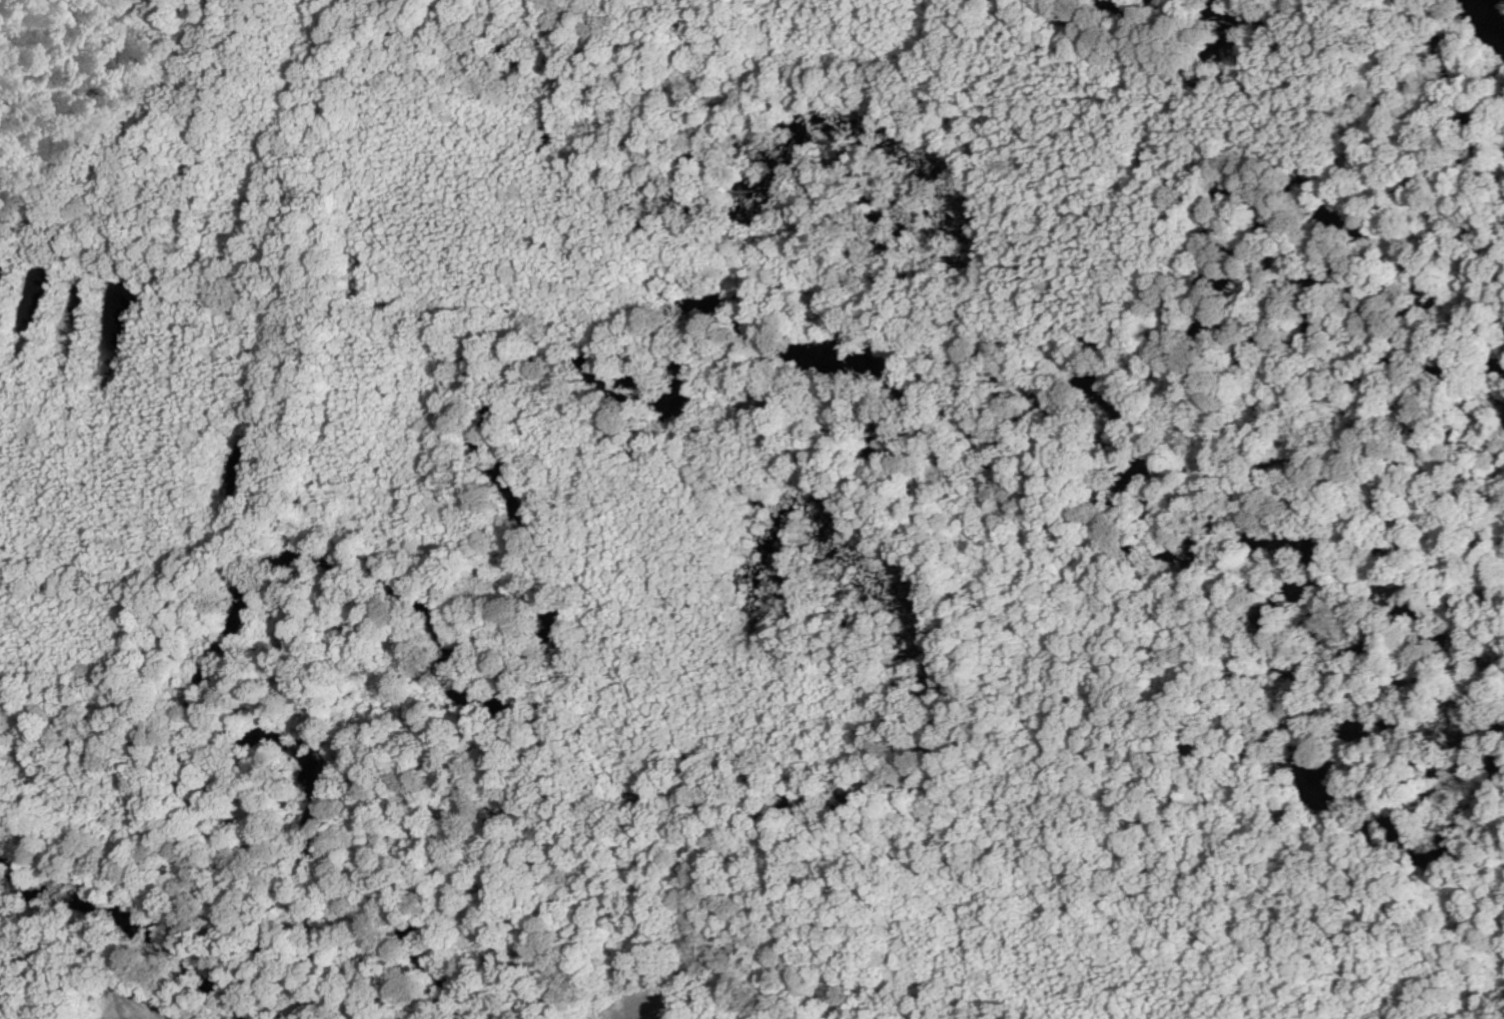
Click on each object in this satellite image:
river: (1489, 14)

